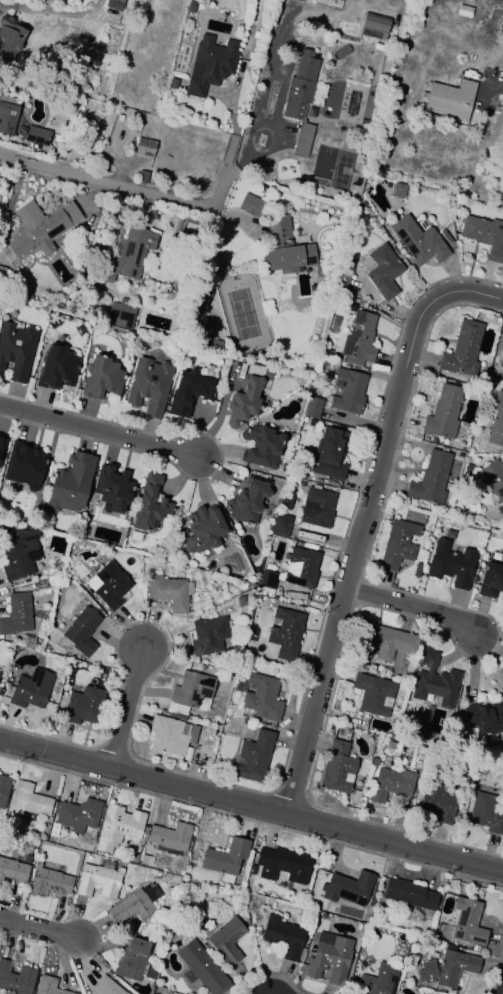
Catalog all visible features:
building: (300, 0)
building: (114, 4)
building: (463, 11)
road: (53, 12)
building: (374, 26)
building: (9, 38)
building: (210, 64)
road: (492, 82)
building: (300, 86)
building: (449, 98)
building: (8, 115)
building: (37, 135)
building: (302, 140)
building: (144, 147)
building: (141, 177)
building: (398, 189)
road: (142, 194)
building: (251, 205)
building: (40, 227)
building: (448, 232)
building: (485, 235)
building: (418, 241)
building: (283, 248)
building: (129, 254)
building: (346, 270)
building: (383, 271)
building: (2, 274)
building: (118, 314)
building: (358, 339)
building: (127, 343)
building: (463, 349)
building: (16, 350)
building: (325, 353)
building: (501, 360)
building: (56, 368)
building: (101, 378)
building: (148, 386)
building: (347, 391)
building: (188, 392)
building: (248, 395)
building: (312, 407)
building: (443, 413)
building: (496, 421)
road: (99, 429)
building: (2, 446)
building: (260, 446)
building: (329, 454)
building: (23, 465)
building: (430, 479)
building: (493, 479)
building: (69, 484)
building: (111, 488)
building: (247, 500)
building: (150, 503)
building: (316, 507)
road: (362, 517)
building: (281, 525)
building: (203, 529)
building: (397, 544)
building: (20, 555)
building: (452, 564)
building: (300, 567)
building: (490, 580)
building: (266, 583)
building: (108, 585)
building: (169, 592)
building: (240, 601)
road: (411, 604)
building: (16, 614)
building: (81, 631)
building: (285, 632)
building: (208, 635)
building: (385, 643)
building: (500, 675)
building: (434, 681)
building: (28, 689)
building: (190, 692)
building: (373, 694)
building: (53, 698)
building: (262, 698)
building: (82, 705)
road: (125, 706)
building: (482, 717)
building: (170, 735)
building: (389, 745)
building: (254, 756)
building: (374, 762)
building: (215, 764)
building: (337, 768)
building: (390, 785)
building: (3, 790)
building: (354, 797)
building: (27, 799)
building: (436, 802)
road: (251, 803)
building: (485, 814)
building: (76, 816)
building: (118, 826)
building: (169, 838)
building: (26, 858)
building: (143, 859)
building: (225, 859)
building: (282, 865)
building: (13, 870)
building: (98, 880)
building: (48, 881)
building: (347, 887)
building: (409, 893)
building: (132, 905)
building: (467, 922)
road: (35, 926)
building: (283, 936)
building: (226, 940)
building: (329, 958)
building: (133, 961)
building: (202, 968)
building: (447, 968)
building: (15, 979)
building: (377, 980)
building: (48, 986)
building: (107, 986)

